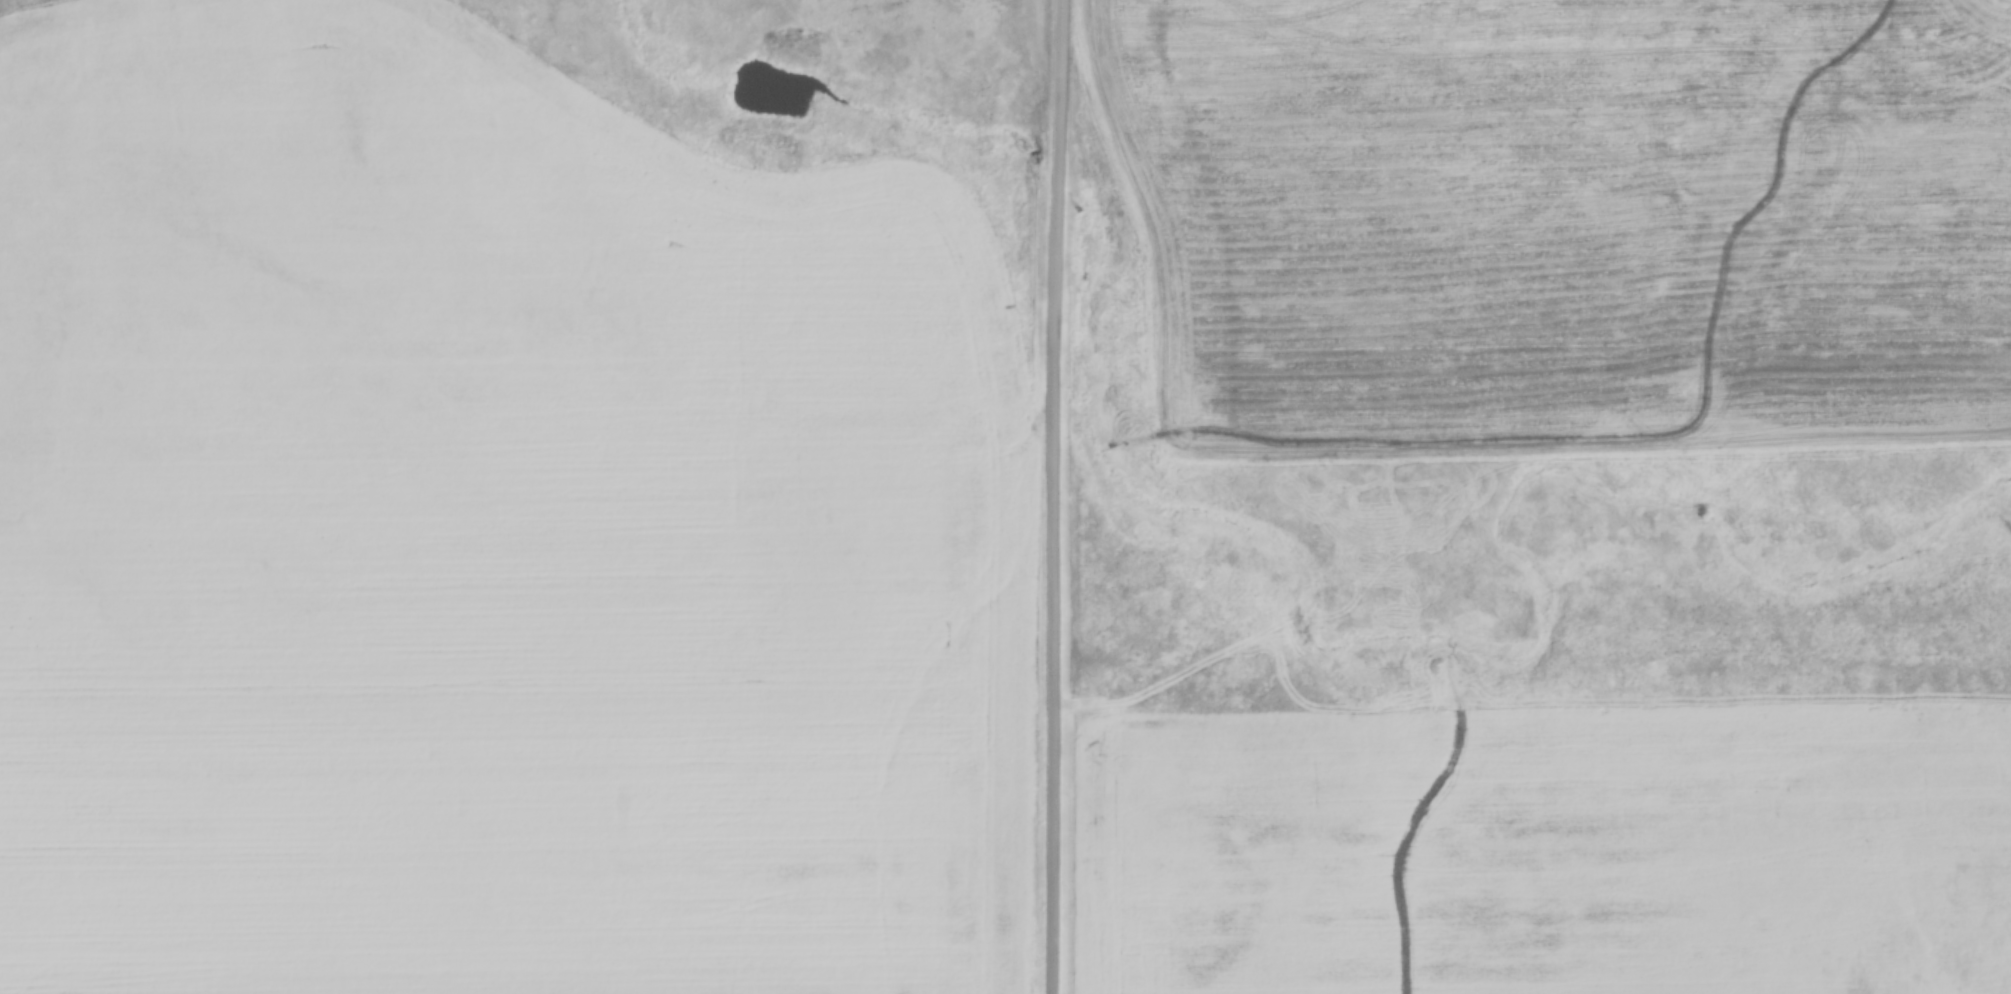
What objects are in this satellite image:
road: (1057, 496)

